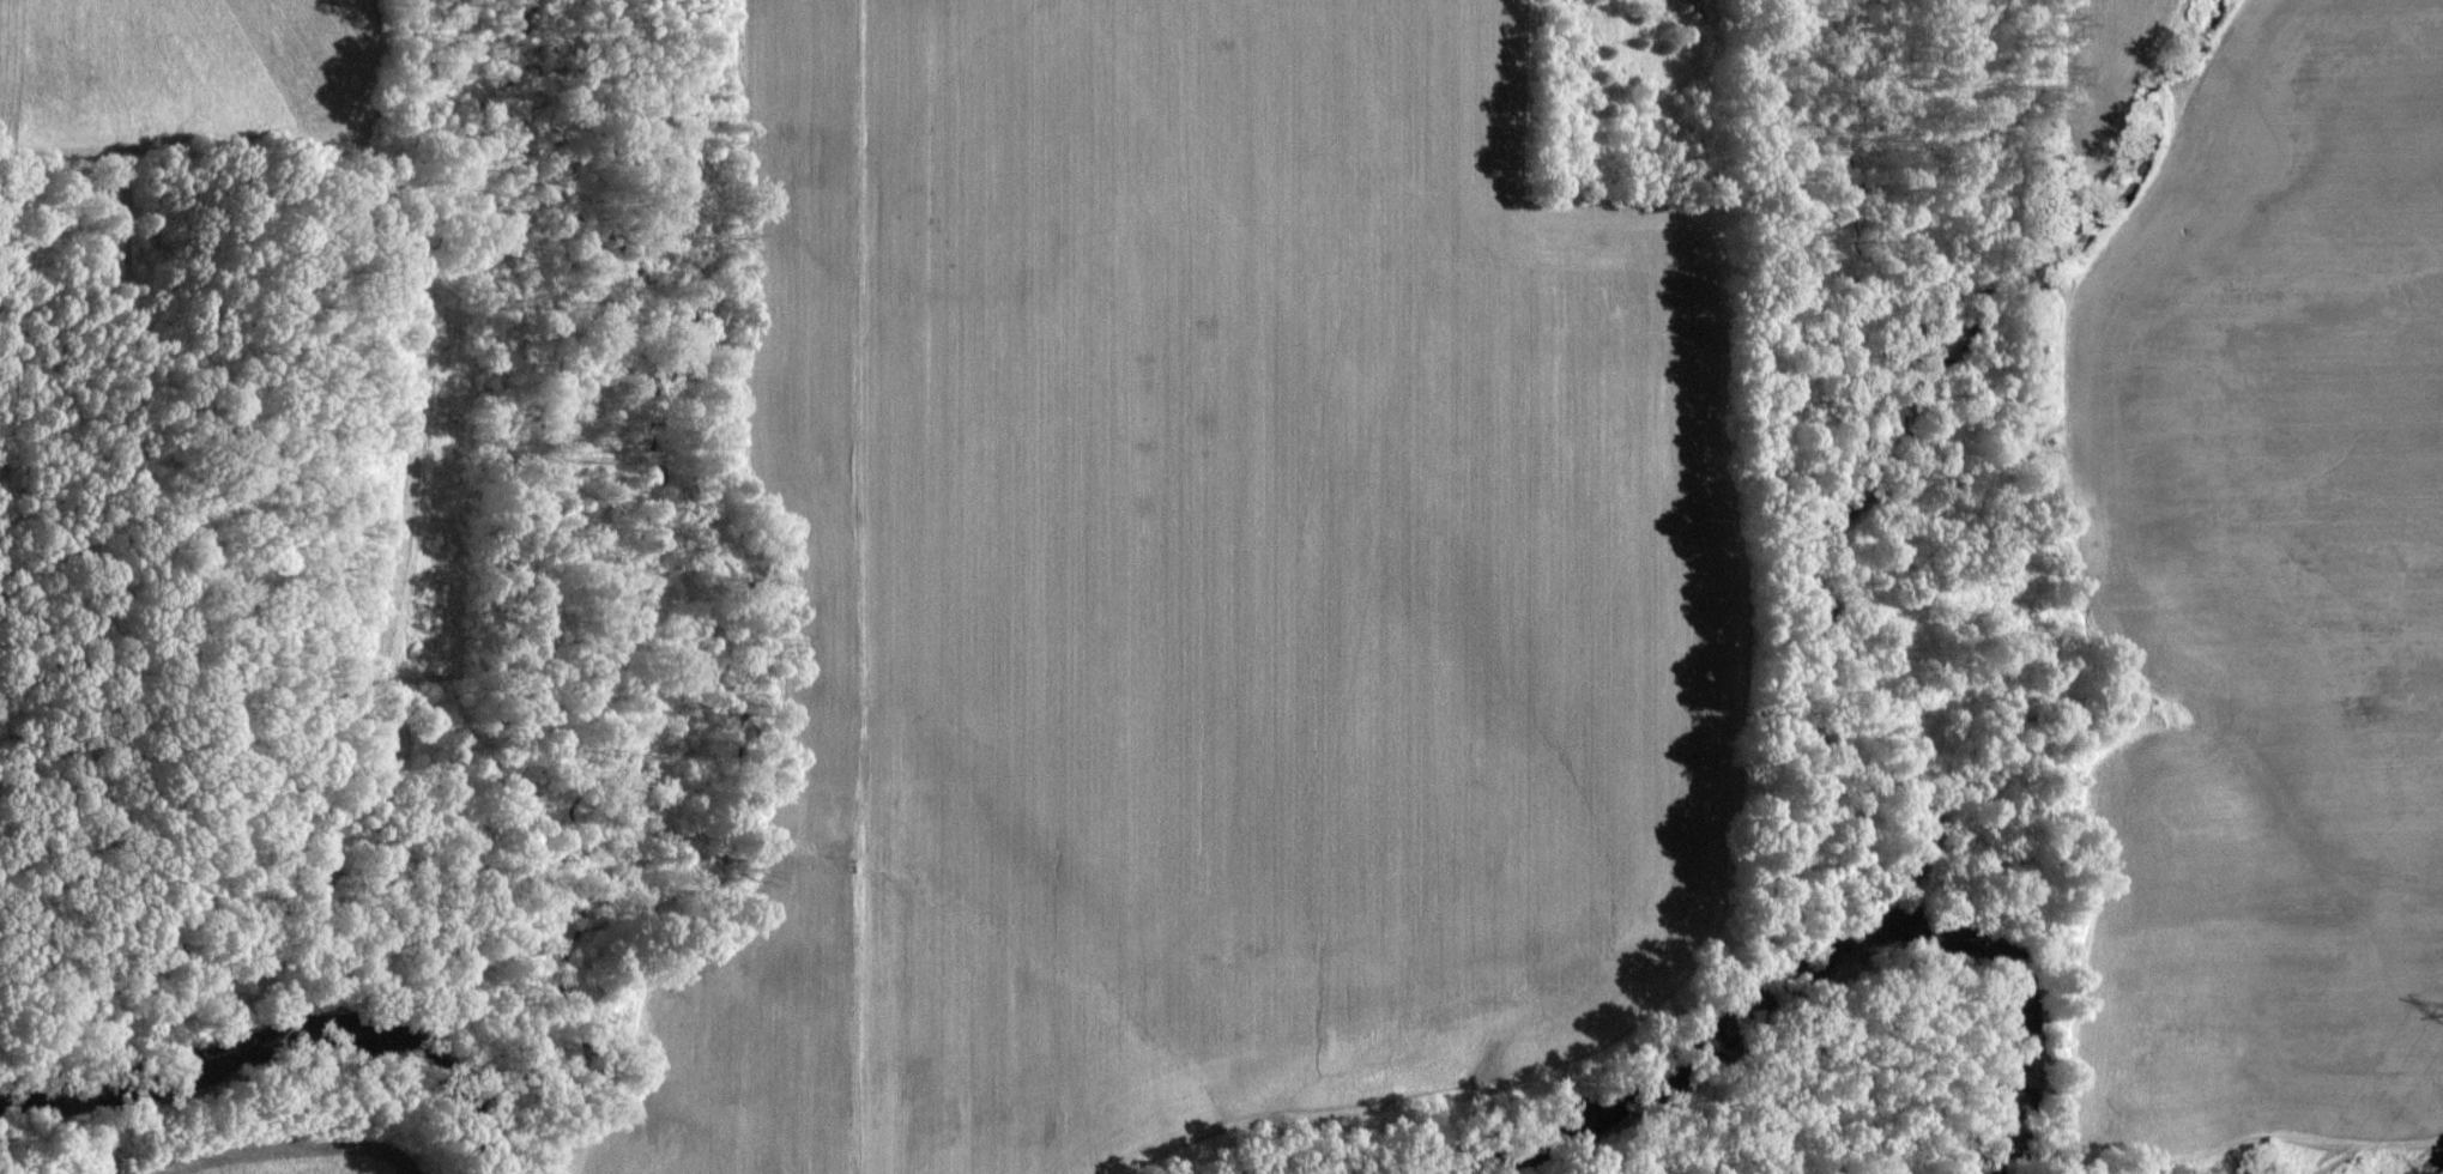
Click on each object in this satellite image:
river: (278, 1047)
river: (1734, 1051)

